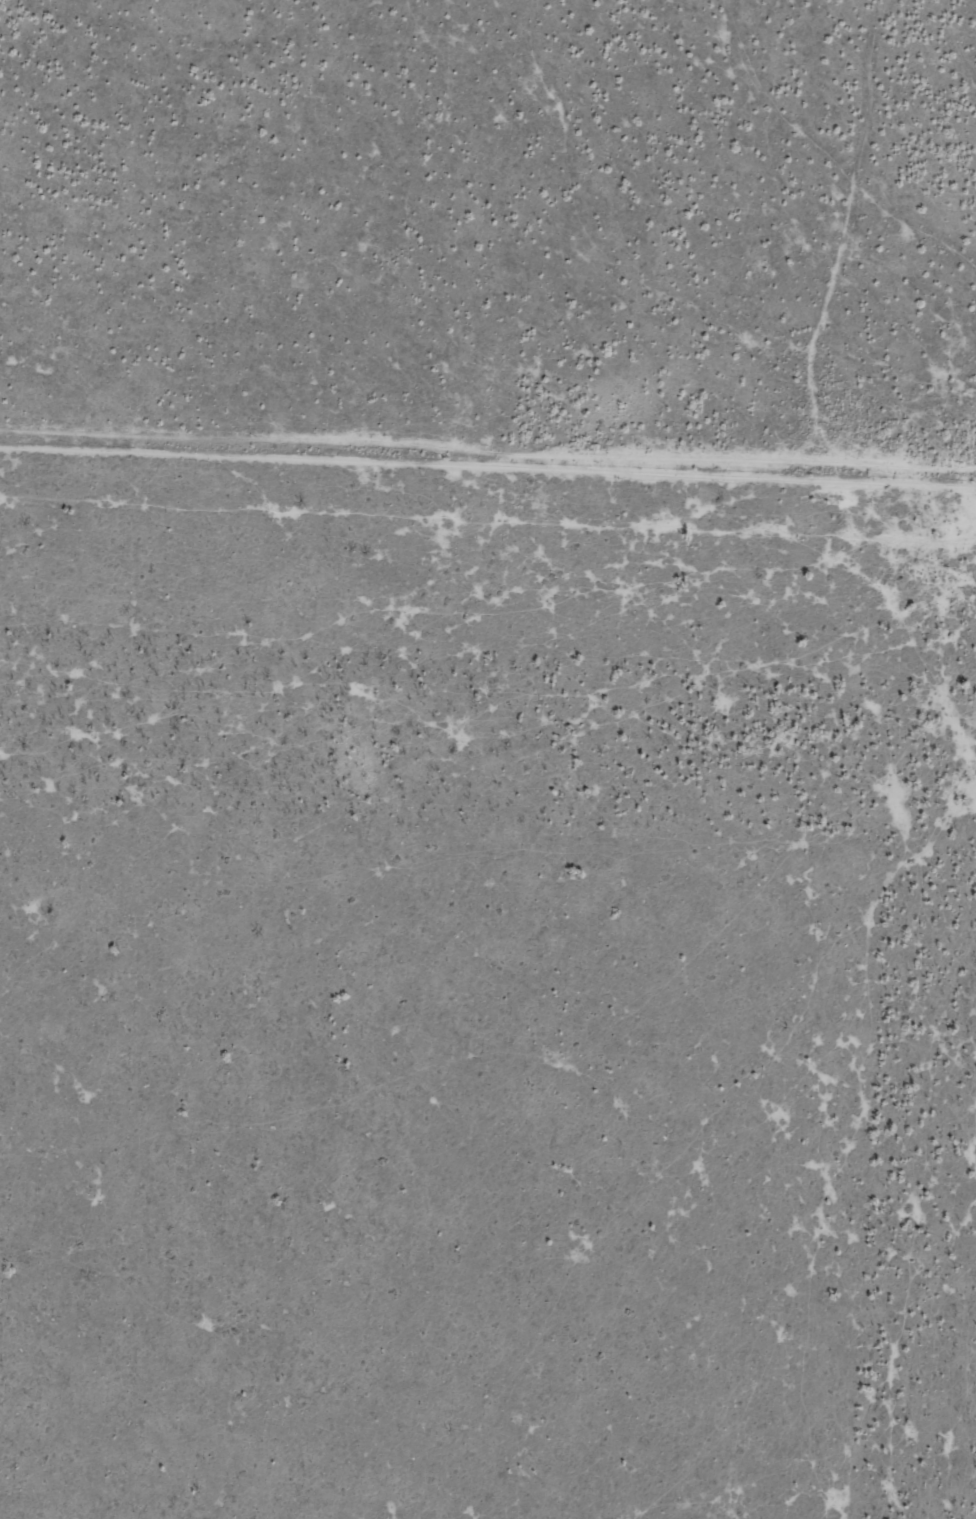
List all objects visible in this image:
road: (487, 477)

